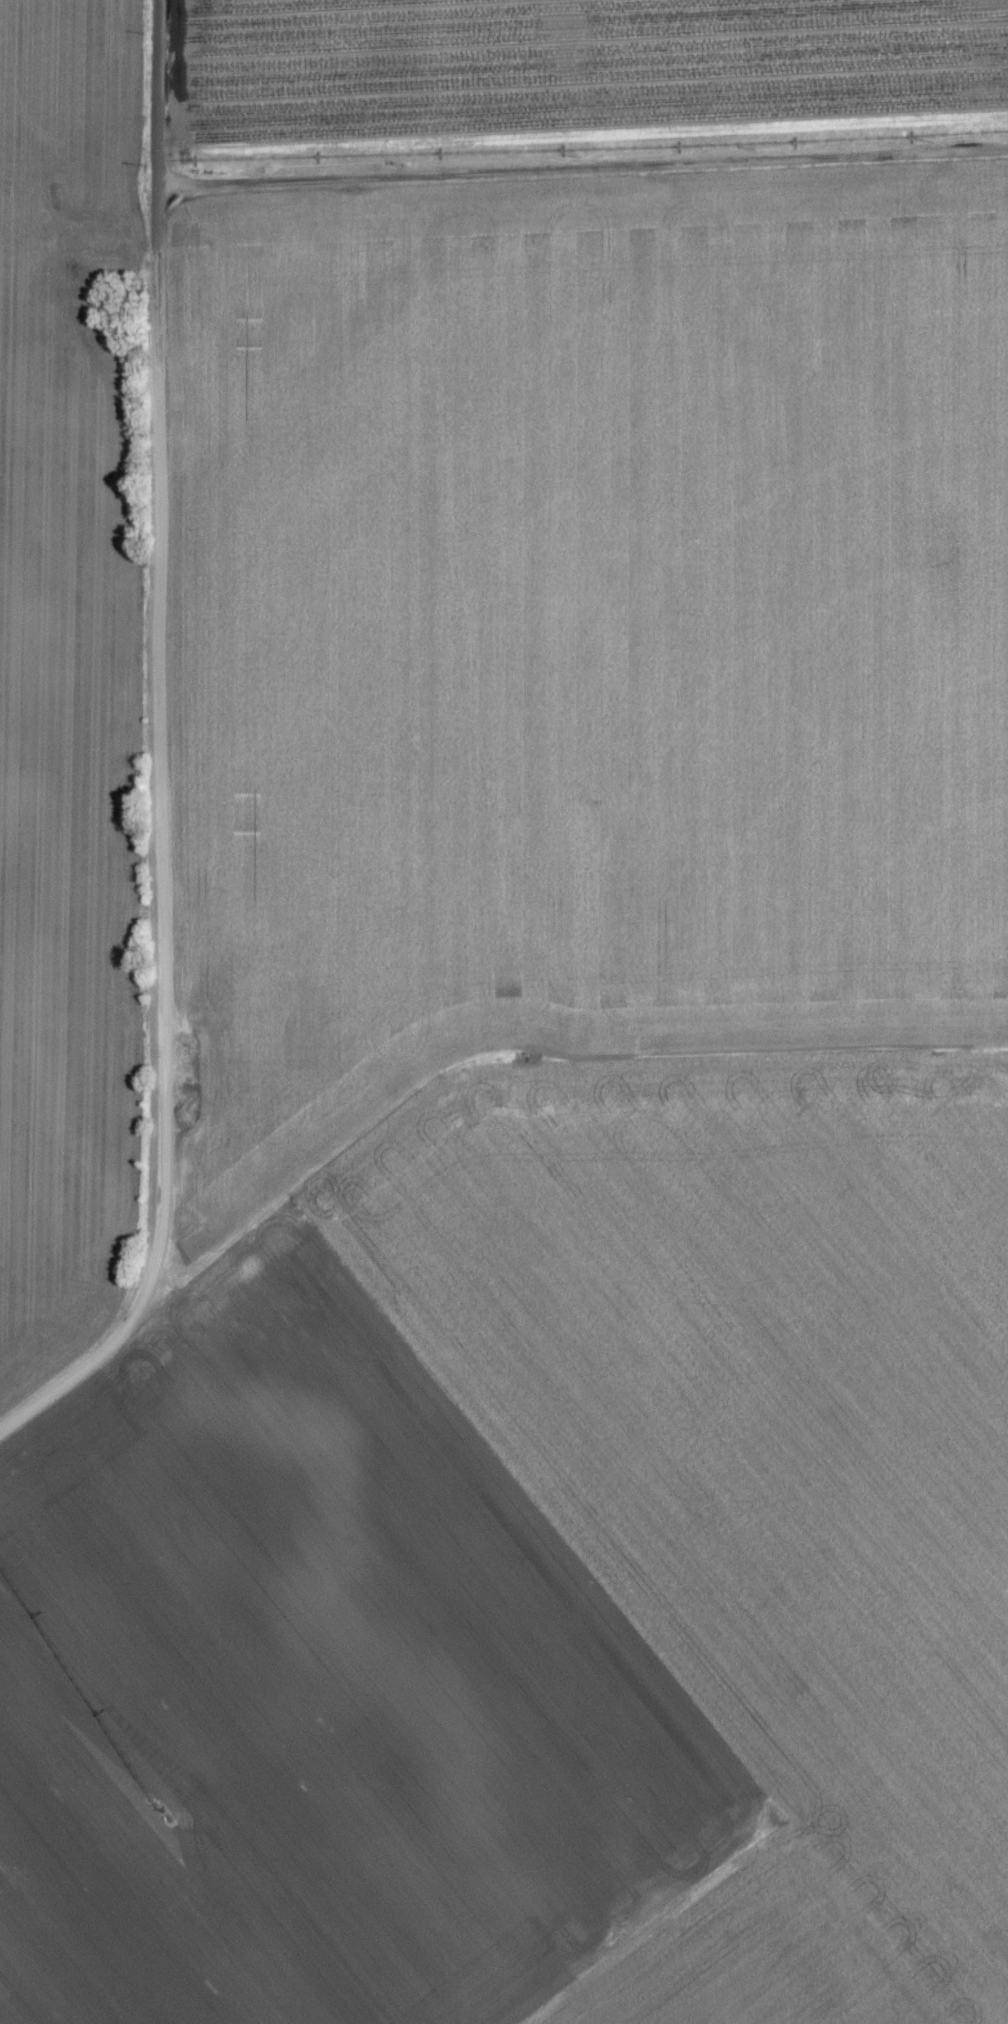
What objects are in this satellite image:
road: (158, 96)
road: (583, 154)
road: (161, 850)

